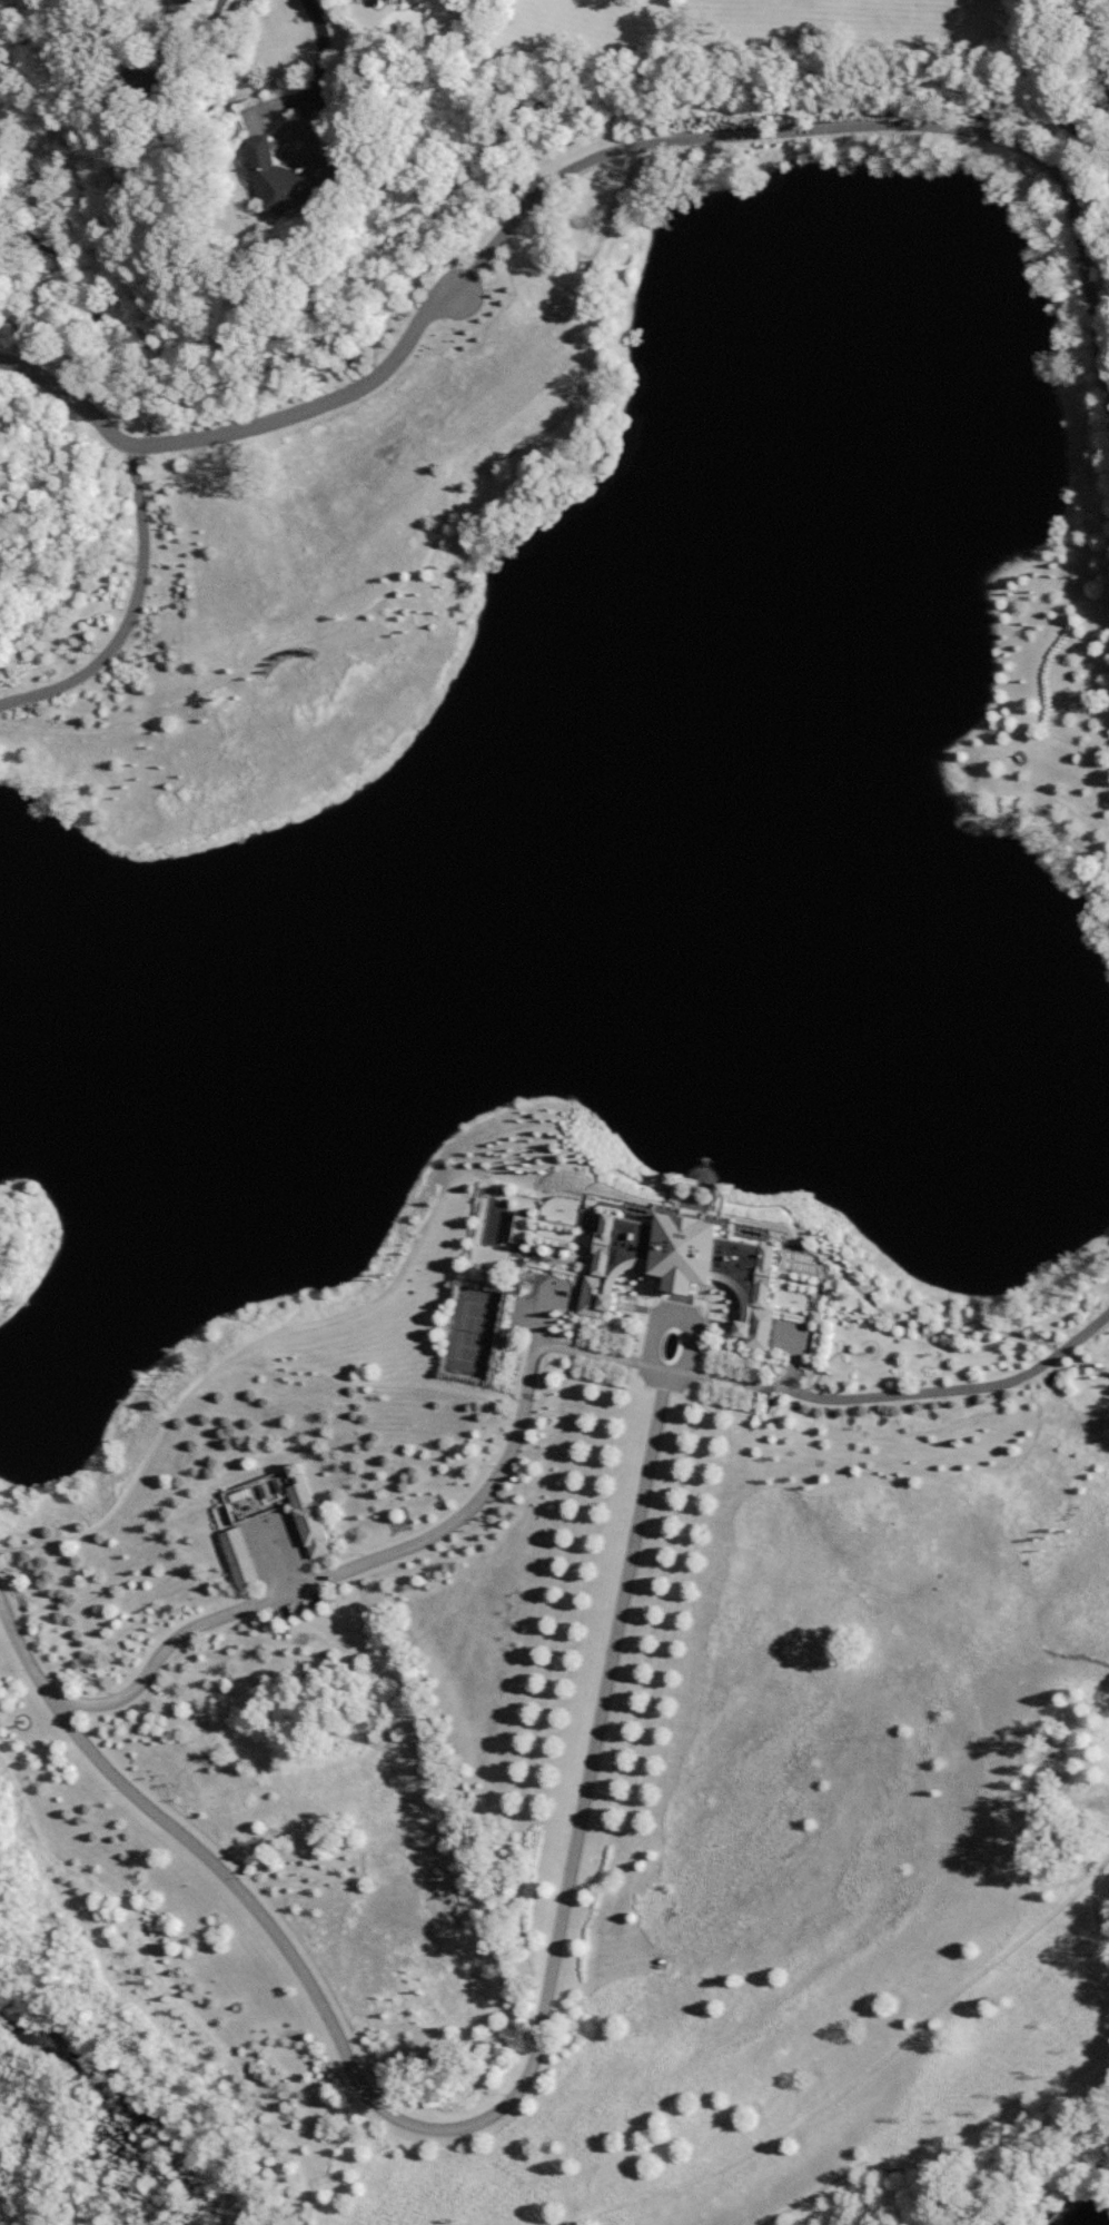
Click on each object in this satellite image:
building: (377, 2)
road: (201, 44)
road: (321, 56)
building: (145, 81)
road: (581, 166)
building: (286, 176)
road: (137, 619)
building: (689, 1265)
road: (680, 1315)
building: (310, 1515)
building: (222, 1519)
road: (406, 1550)
road: (283, 1556)
building: (241, 1560)
road: (62, 1695)
road: (570, 1903)

